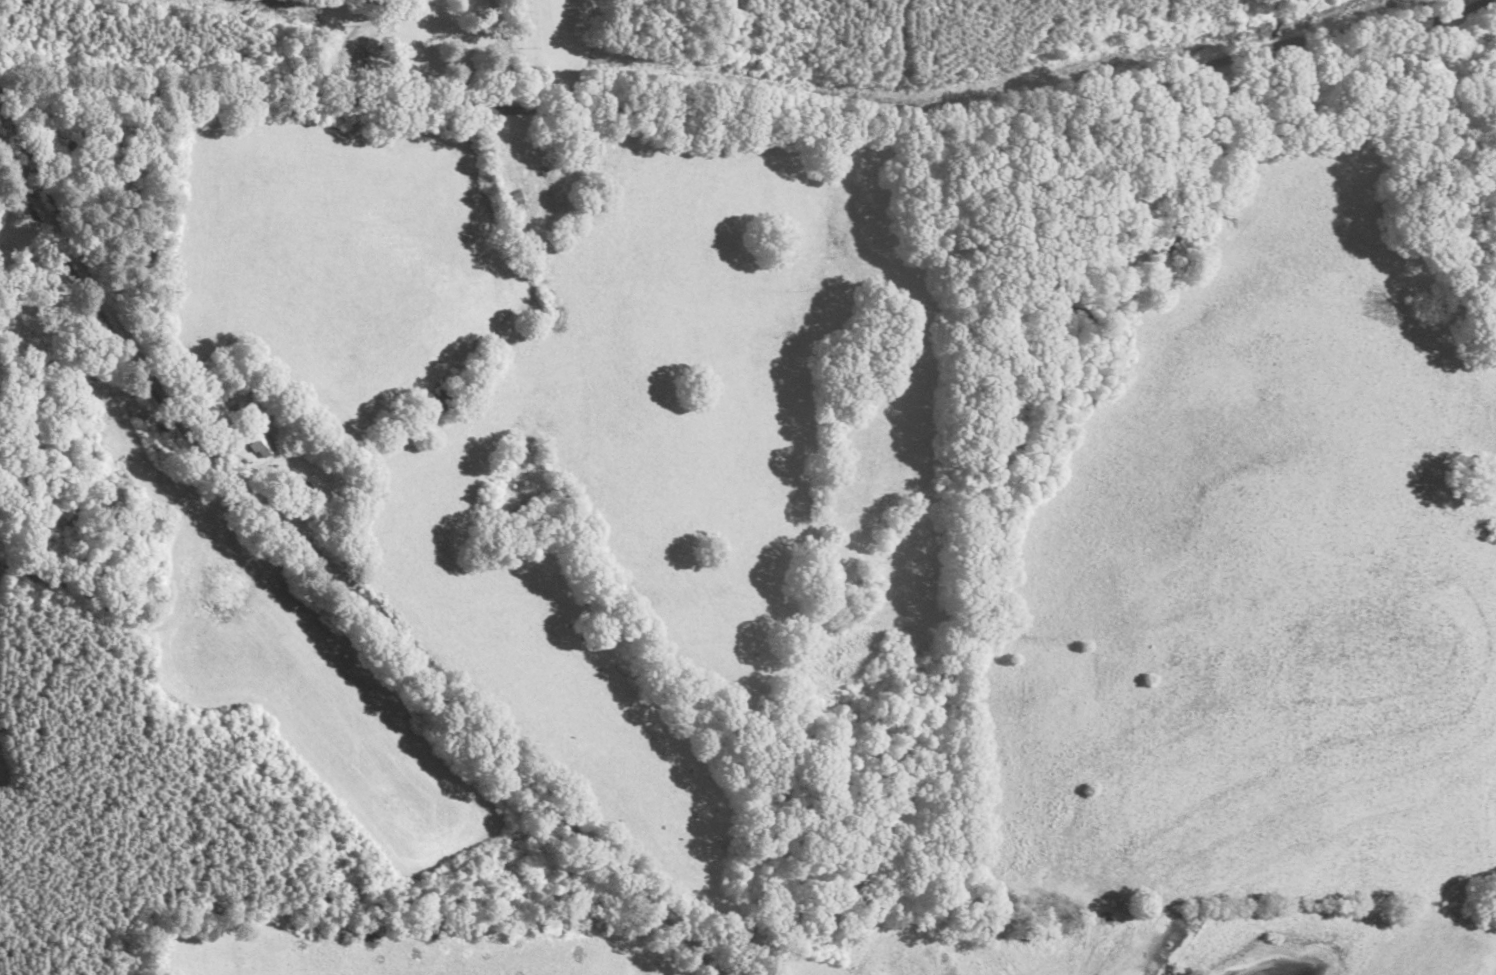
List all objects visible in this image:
road: (503, 54)
road: (749, 112)
building: (568, 182)
building: (442, 402)
building: (261, 445)
building: (74, 516)
road: (337, 588)

